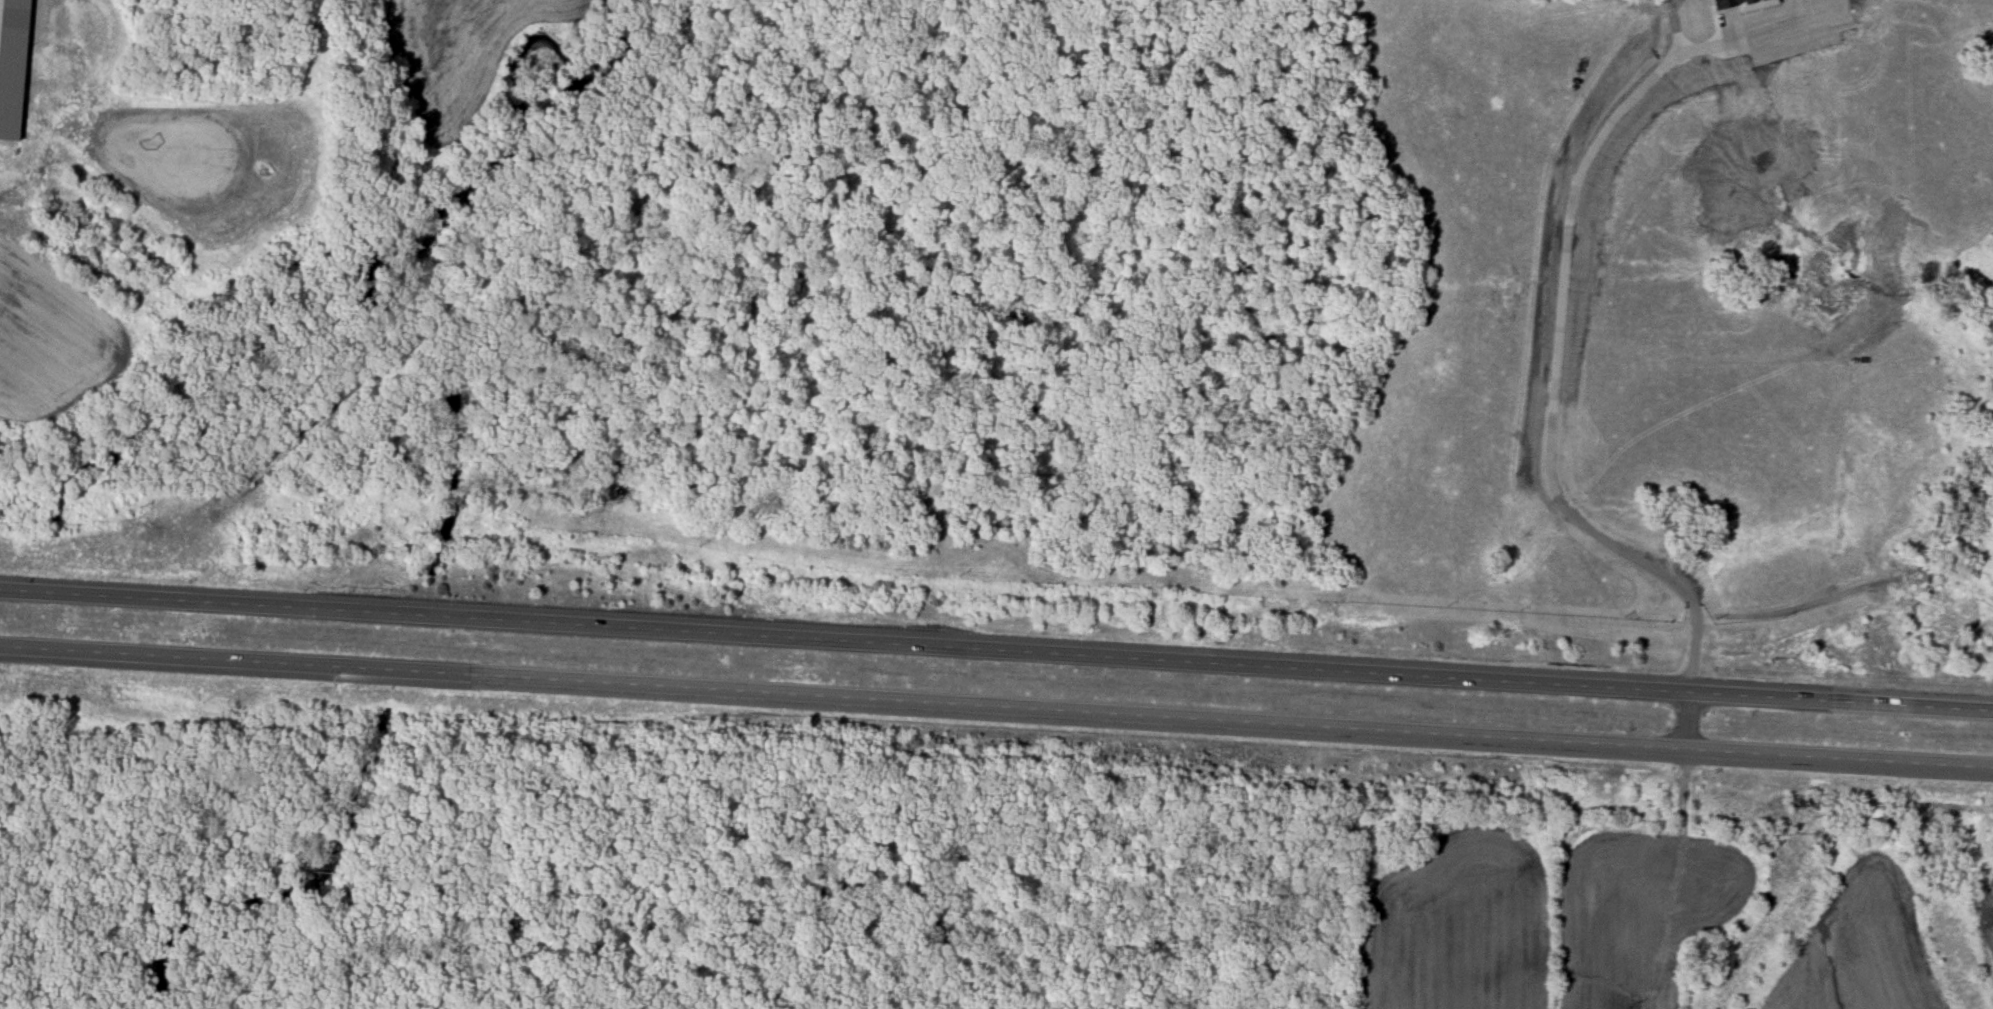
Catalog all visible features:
road: (105, 595)
road: (90, 657)
road: (1101, 658)
road: (1087, 719)
crop: (1542, 918)

